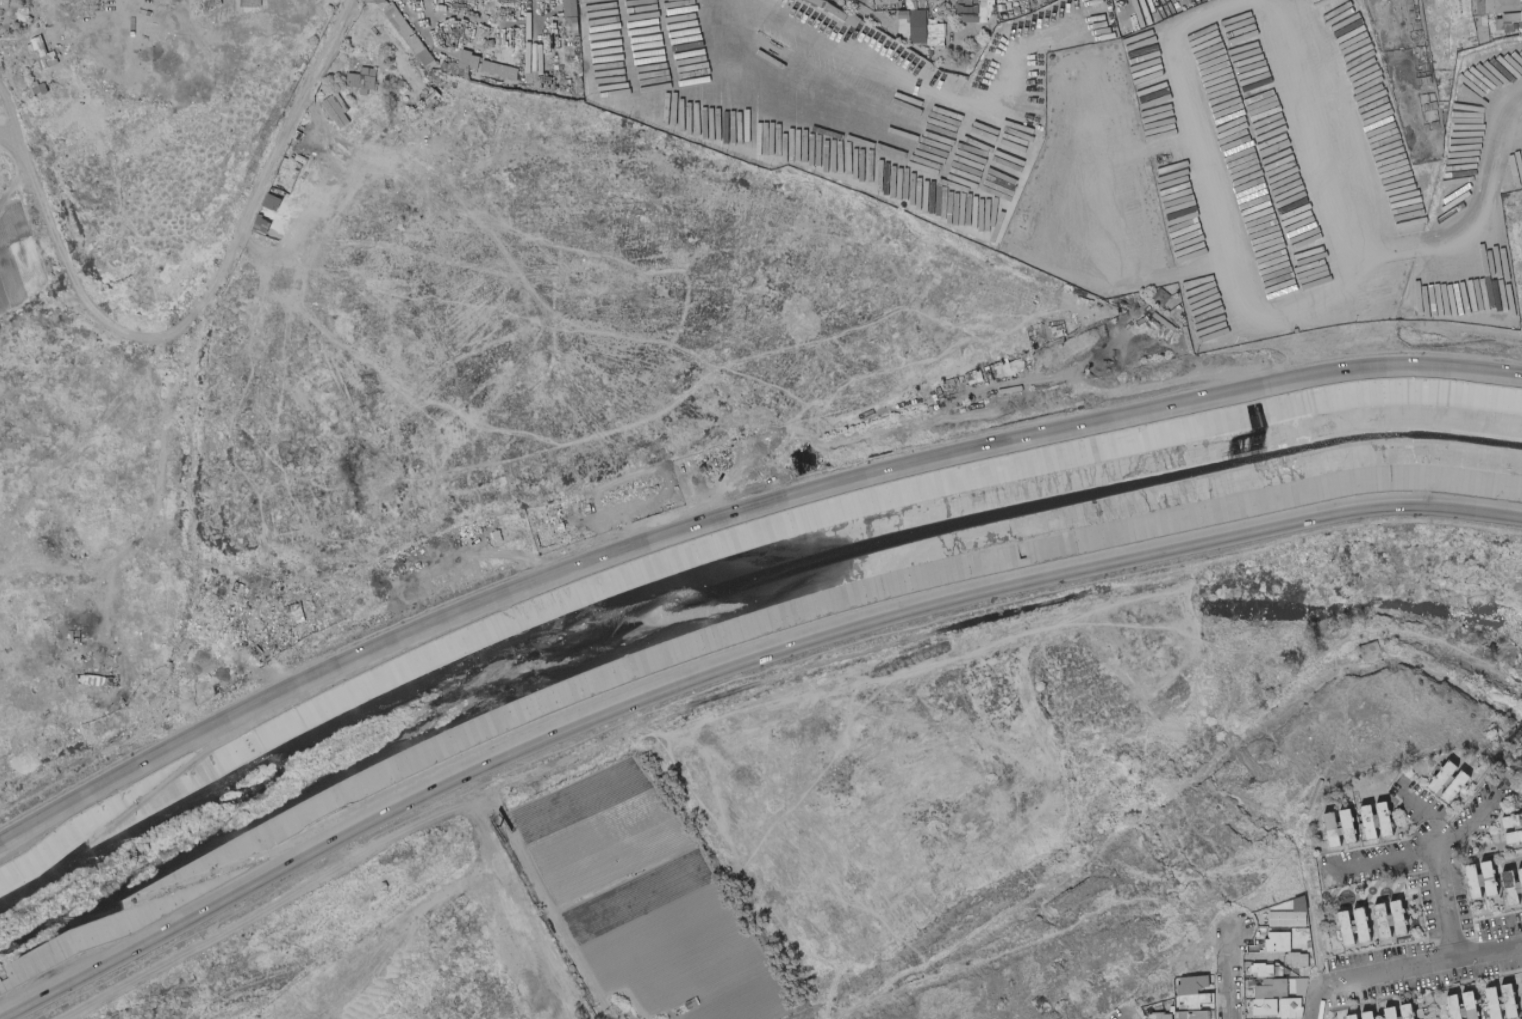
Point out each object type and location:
crop: (1513, 236)
crop: (595, 833)
crop: (674, 944)

